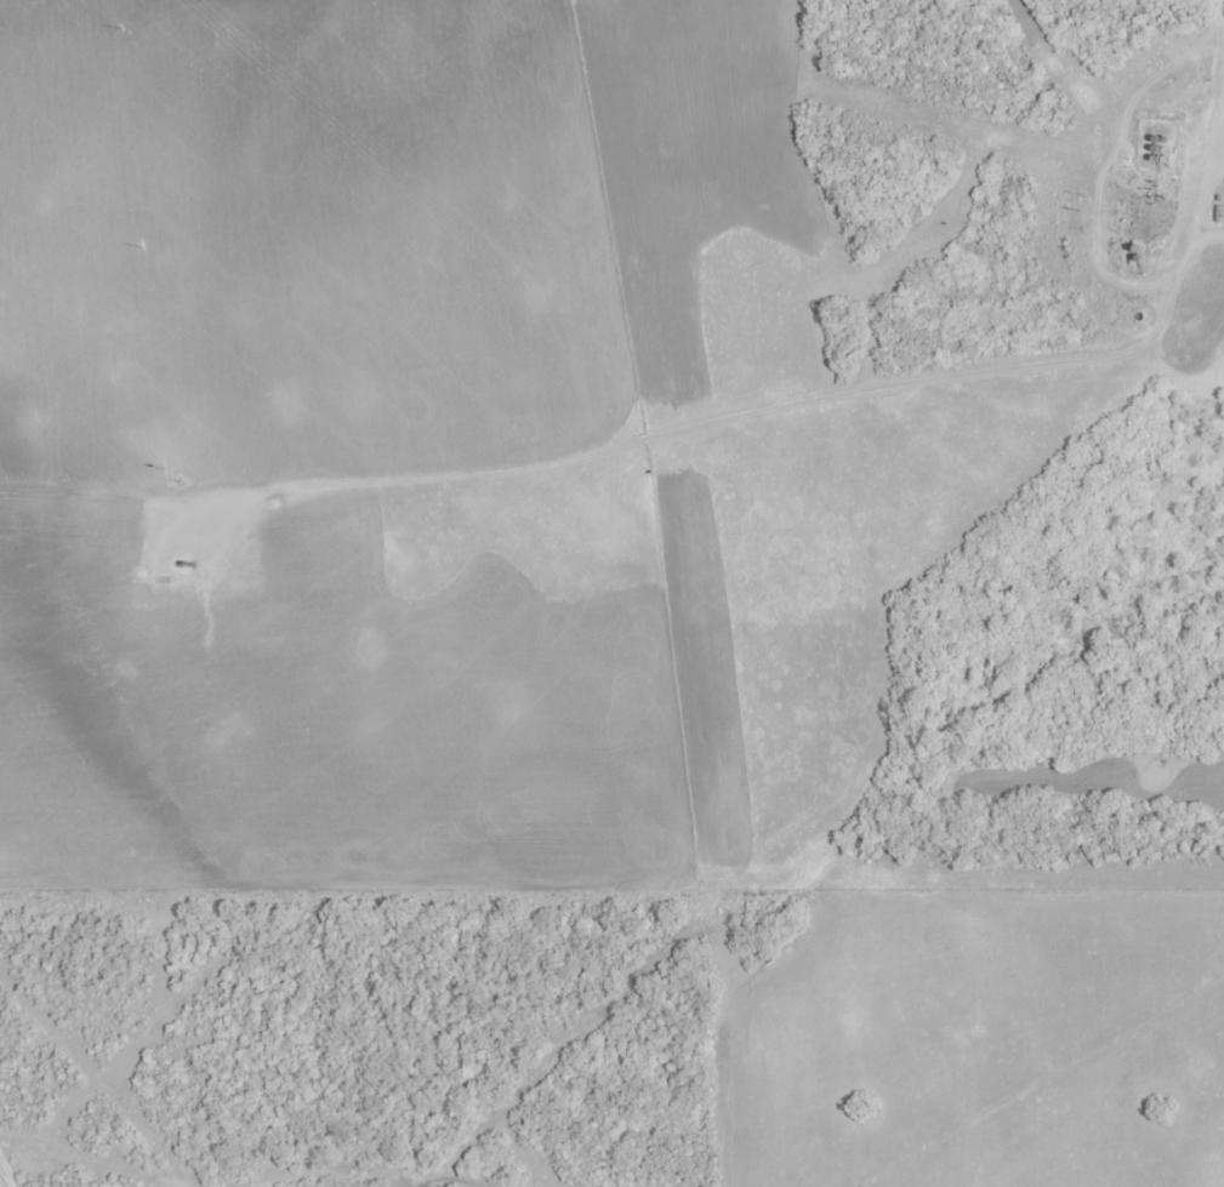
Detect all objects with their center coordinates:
road: (1222, 46)

